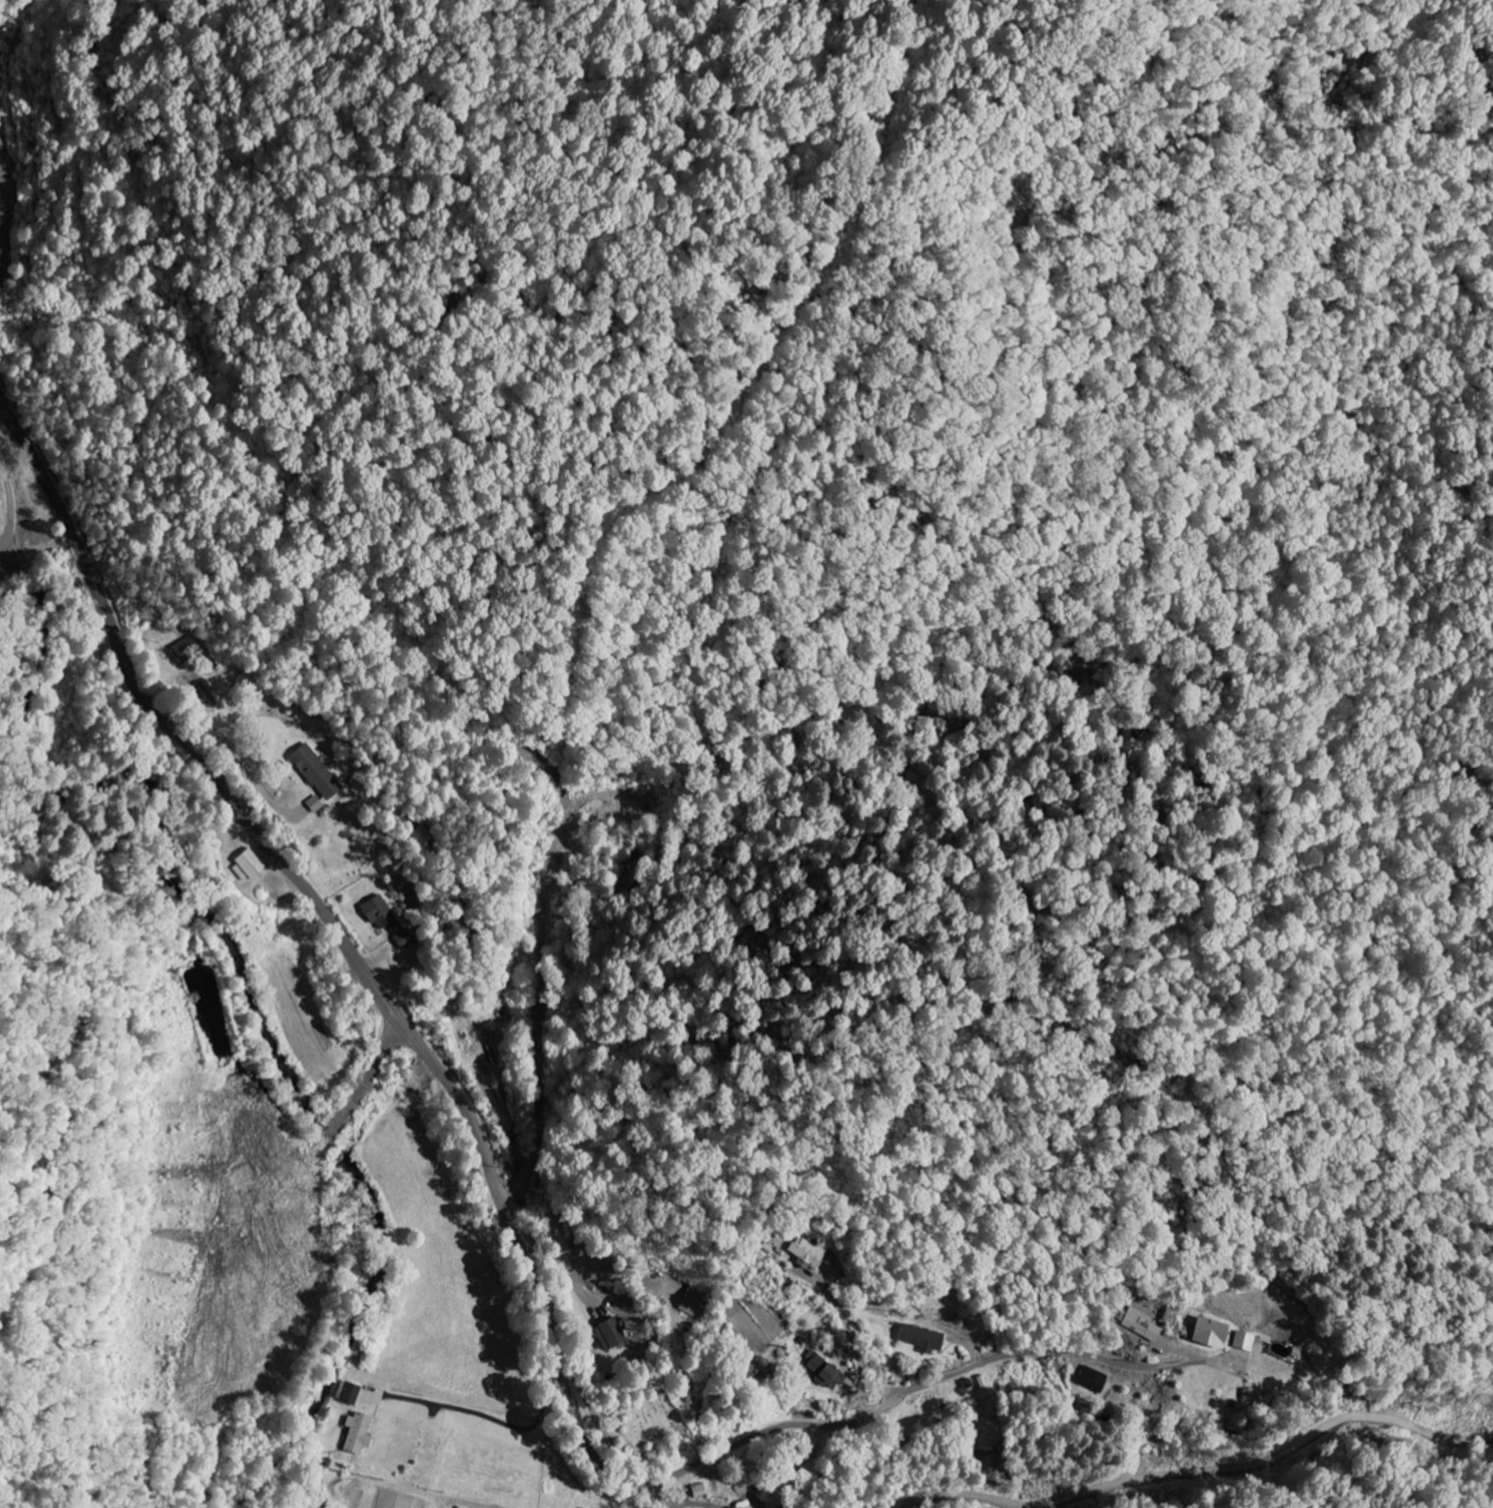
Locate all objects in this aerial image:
building: (183, 651)
building: (318, 773)
building: (316, 805)
building: (249, 868)
building: (389, 922)
road: (343, 939)
building: (808, 1254)
building: (695, 1302)
building: (1139, 1322)
building: (1216, 1333)
building: (614, 1335)
building: (925, 1339)
building: (1247, 1341)
building: (826, 1371)
building: (350, 1392)
road: (835, 1425)
building: (360, 1433)
building: (702, 1491)
road: (658, 1499)

